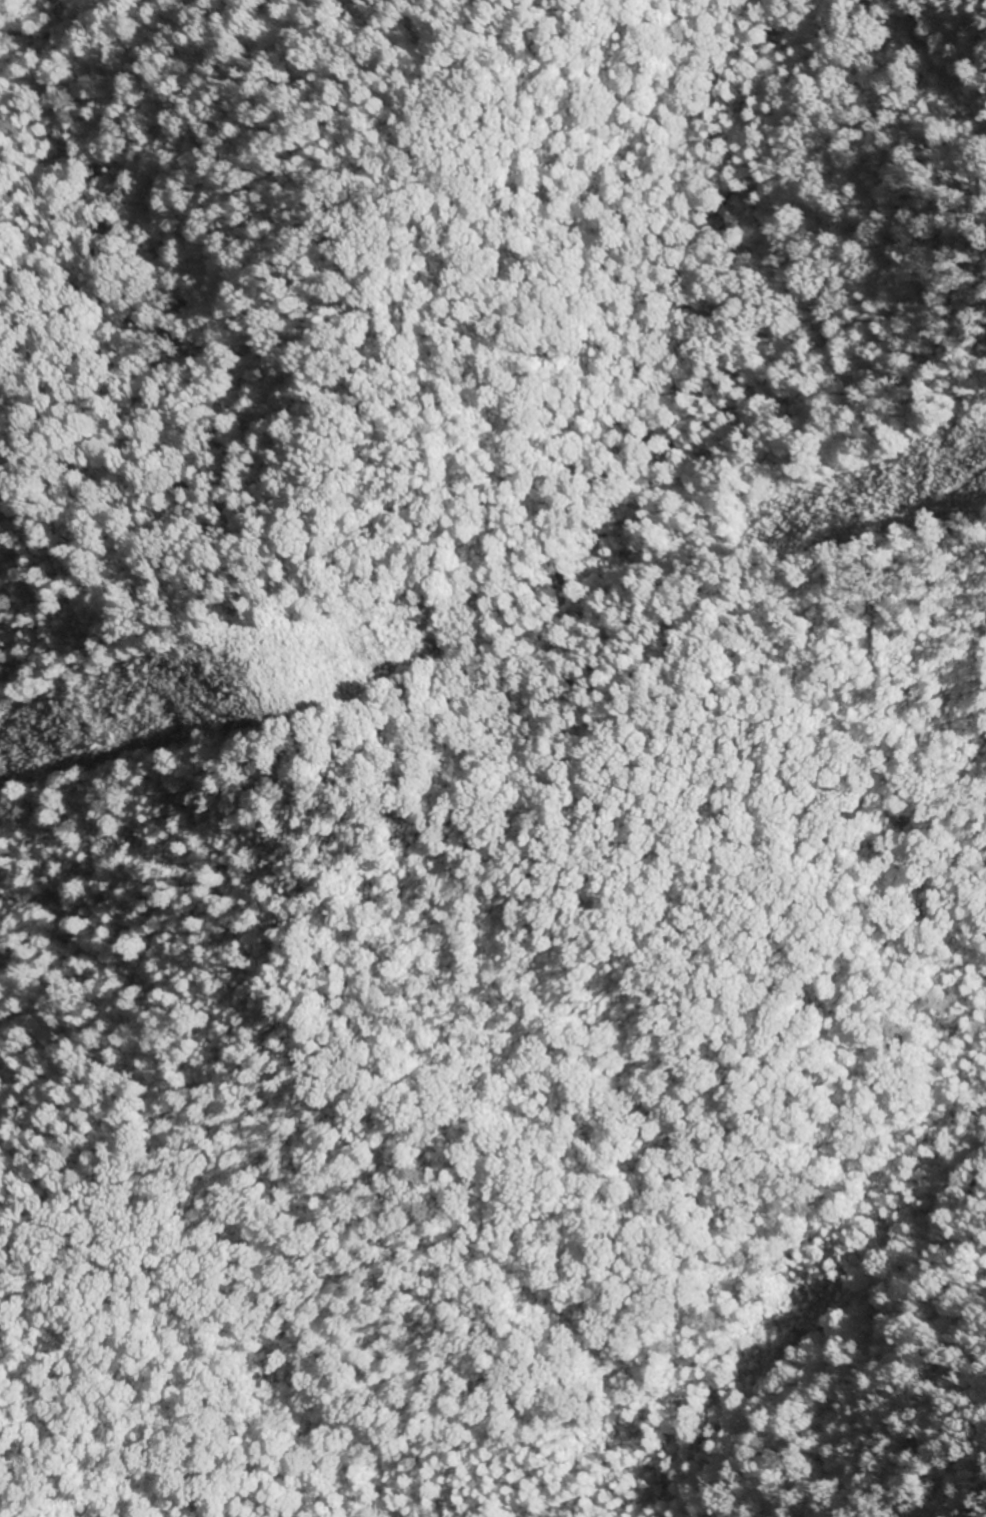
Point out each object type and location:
road: (40, 21)

